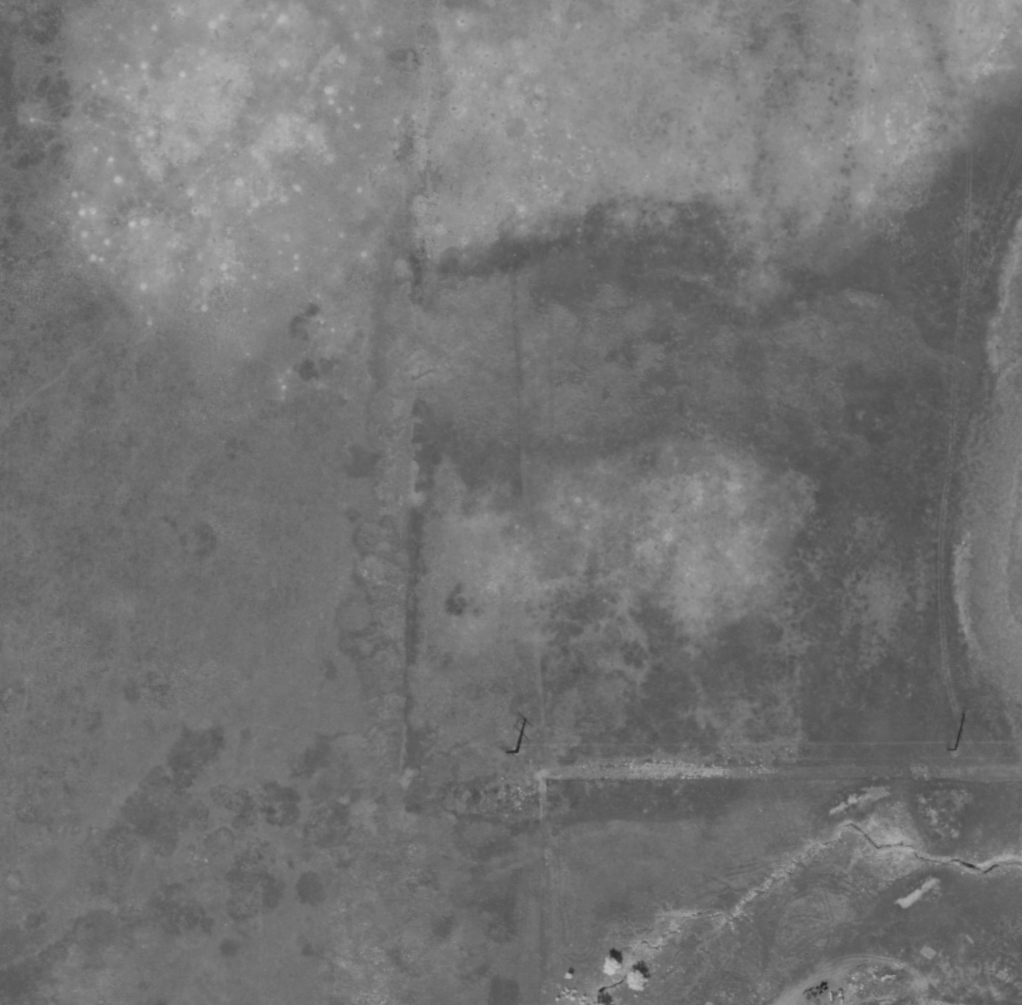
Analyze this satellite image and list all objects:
power tower: (954, 749)
power tower: (516, 750)

